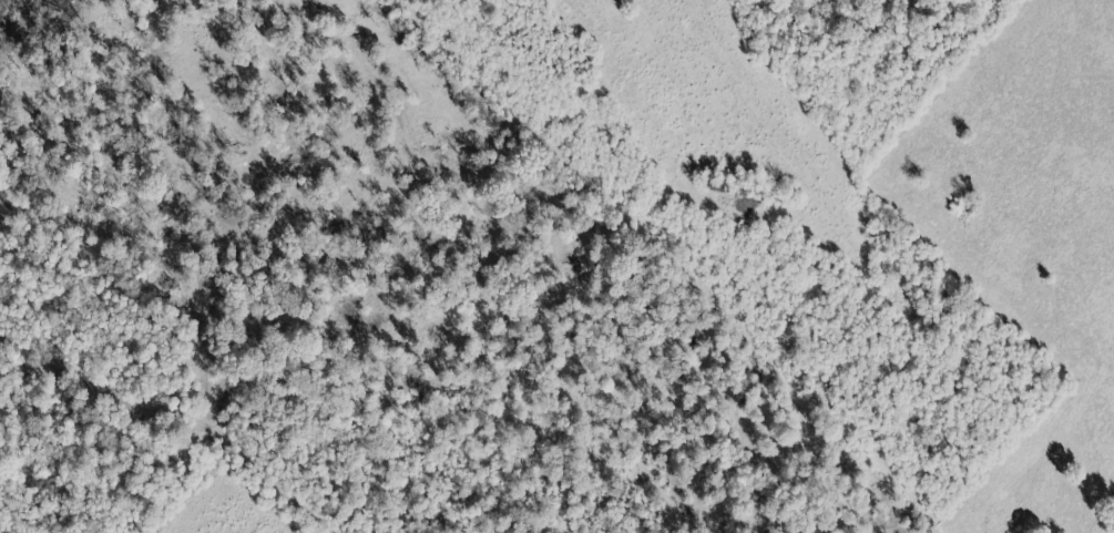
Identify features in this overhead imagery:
road: (774, 125)

